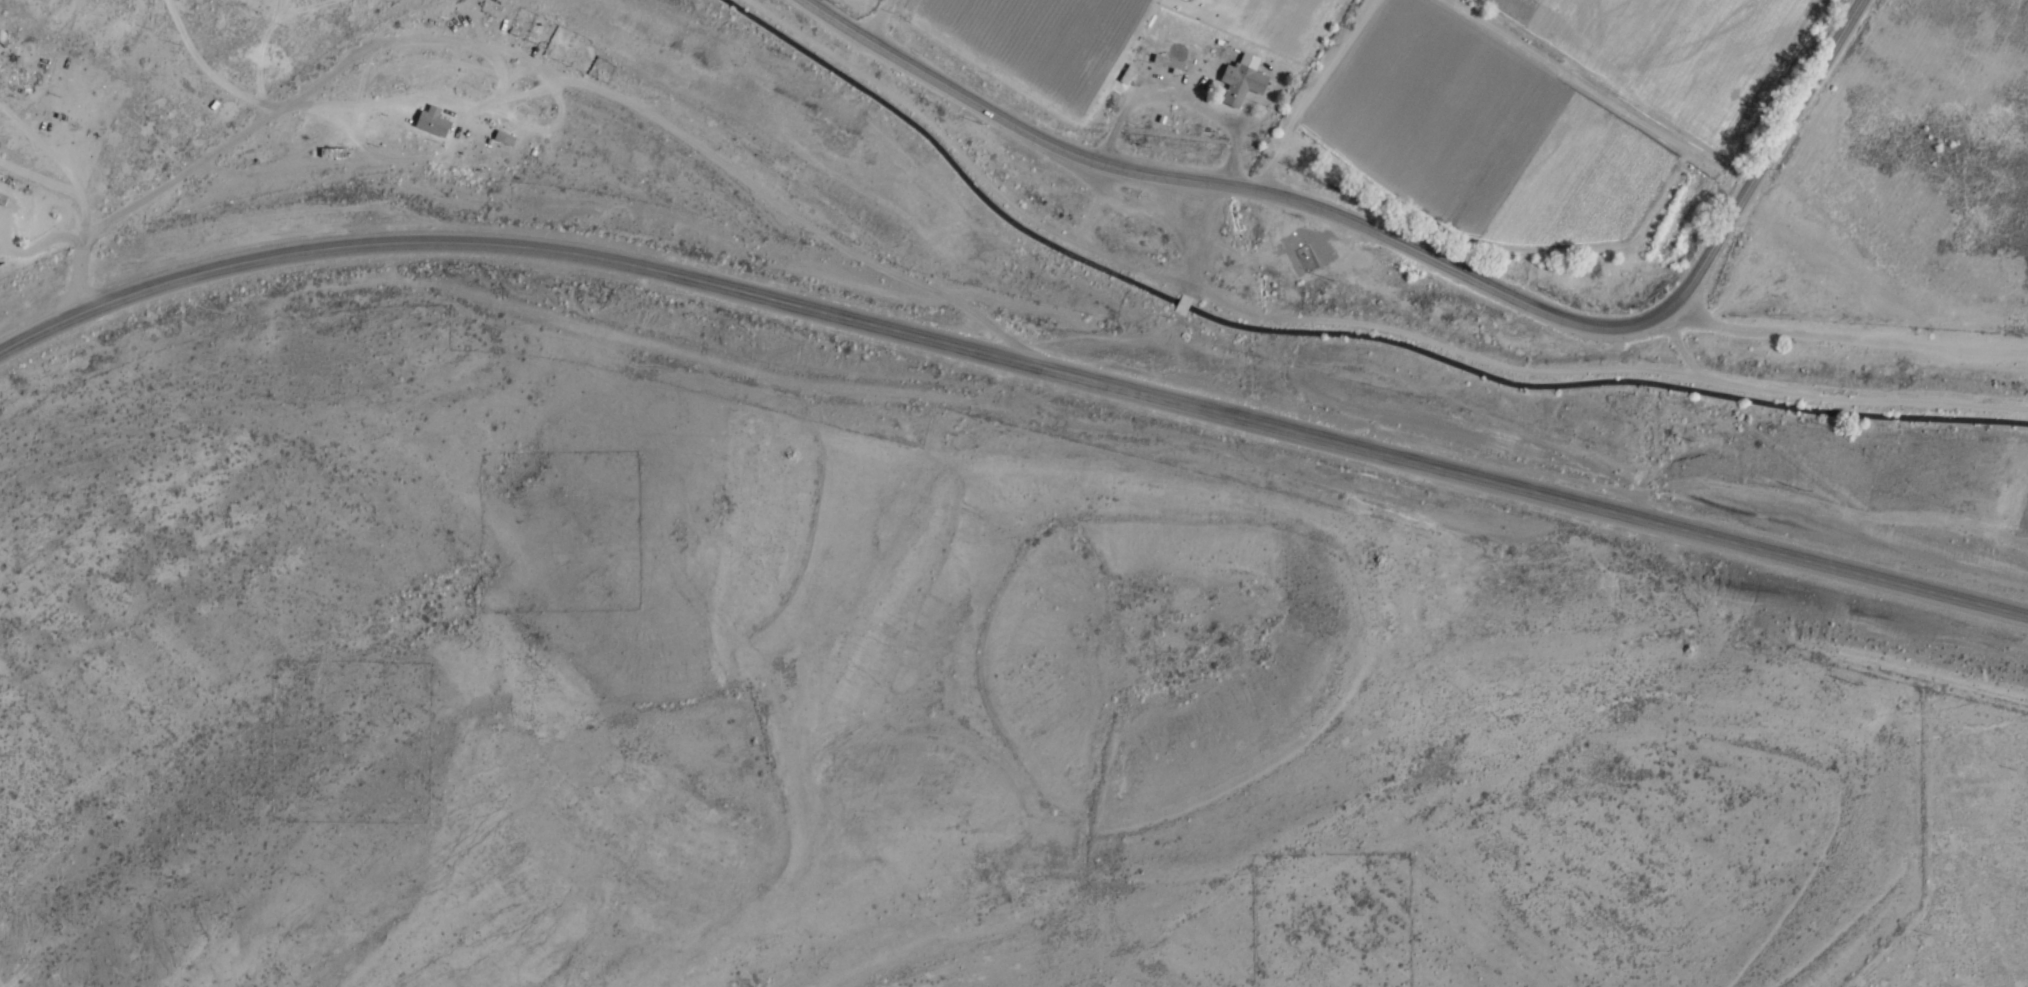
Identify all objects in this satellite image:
road: (876, 19)
building: (1169, 62)
building: (1127, 74)
building: (1243, 80)
building: (63, 108)
building: (433, 123)
building: (334, 153)
road: (196, 160)
road: (1403, 241)
building: (1308, 257)
road: (1846, 332)
road: (1013, 367)

